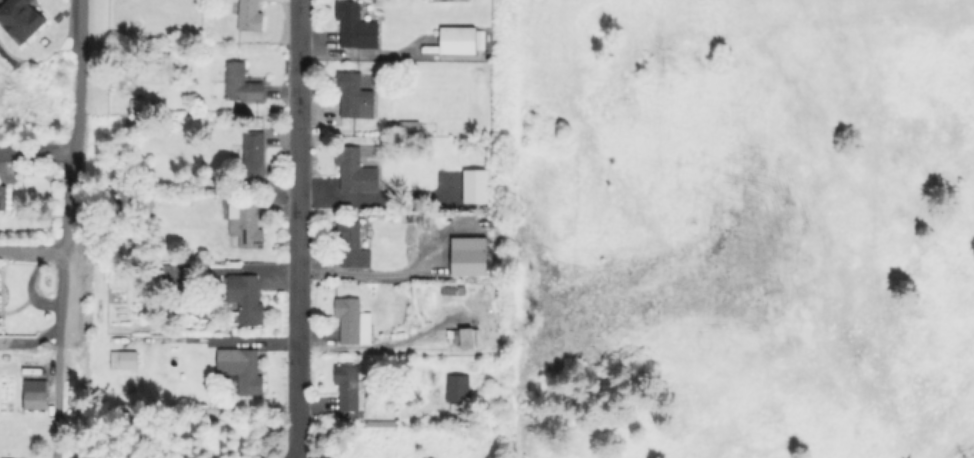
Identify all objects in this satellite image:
building: (251, 16)
building: (21, 18)
building: (357, 26)
building: (459, 42)
building: (243, 84)
building: (356, 98)
building: (402, 131)
building: (255, 157)
building: (357, 173)
building: (474, 185)
building: (3, 198)
building: (136, 205)
building: (363, 206)
crop: (740, 216)
building: (247, 227)
road: (66, 228)
road: (297, 229)
building: (352, 247)
road: (32, 252)
building: (466, 255)
building: (180, 273)
road: (32, 284)
building: (247, 300)
building: (353, 323)
building: (467, 339)
building: (126, 361)
building: (242, 371)
building: (352, 389)
building: (459, 390)
building: (37, 396)

